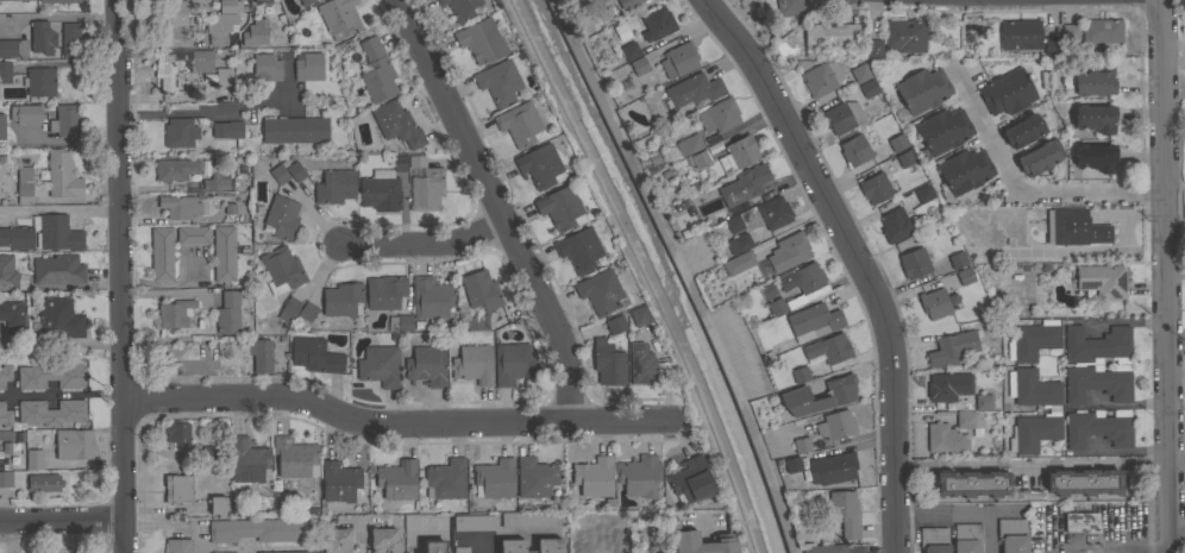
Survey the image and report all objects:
building: (13, 0)
building: (62, 1)
building: (263, 1)
building: (595, 1)
building: (634, 1)
building: (303, 2)
building: (228, 6)
building: (606, 6)
building: (790, 7)
building: (459, 8)
road: (63, 15)
building: (338, 17)
building: (176, 18)
building: (657, 23)
building: (218, 29)
building: (620, 32)
building: (255, 33)
building: (1070, 33)
building: (1101, 33)
building: (904, 34)
building: (1020, 34)
building: (826, 36)
building: (42, 38)
building: (70, 39)
building: (481, 40)
building: (1051, 45)
building: (13, 48)
building: (873, 49)
building: (628, 51)
building: (678, 59)
building: (180, 65)
building: (267, 67)
building: (308, 67)
building: (638, 67)
building: (376, 70)
building: (5, 71)
building: (860, 73)
building: (224, 74)
building: (820, 76)
building: (39, 81)
building: (499, 81)
building: (1089, 82)
building: (869, 88)
building: (694, 89)
building: (922, 89)
building: (1008, 92)
road: (217, 111)
building: (25, 113)
road: (125, 113)
building: (719, 115)
building: (841, 117)
building: (1095, 118)
building: (67, 120)
building: (397, 124)
building: (519, 124)
building: (1, 126)
building: (227, 128)
building: (294, 130)
building: (943, 130)
building: (1023, 130)
building: (178, 132)
road: (70, 139)
building: (895, 143)
building: (688, 144)
building: (853, 151)
building: (736, 153)
building: (1095, 156)
building: (904, 158)
building: (1036, 158)
building: (697, 159)
building: (416, 161)
building: (539, 165)
building: (174, 170)
building: (295, 171)
building: (964, 171)
building: (278, 174)
building: (62, 175)
building: (24, 181)
building: (215, 182)
building: (744, 184)
building: (336, 186)
building: (383, 187)
road: (1022, 187)
building: (426, 188)
building: (873, 189)
building: (669, 194)
building: (922, 194)
road: (1174, 200)
road: (497, 205)
road: (61, 207)
building: (559, 207)
building: (178, 208)
building: (227, 208)
building: (775, 212)
building: (277, 219)
building: (733, 224)
building: (894, 225)
building: (1066, 226)
building: (43, 233)
building: (1097, 234)
building: (189, 235)
building: (738, 243)
road: (426, 247)
building: (578, 249)
building: (788, 251)
building: (221, 253)
building: (159, 254)
road: (854, 258)
building: (955, 260)
building: (738, 263)
building: (914, 263)
building: (58, 269)
building: (281, 269)
building: (7, 271)
road: (635, 271)
road: (120, 276)
road: (1166, 276)
building: (808, 277)
building: (964, 277)
building: (1102, 279)
road: (171, 282)
building: (481, 289)
building: (767, 289)
building: (598, 290)
building: (385, 291)
building: (431, 296)
building: (343, 299)
building: (934, 303)
building: (776, 306)
building: (288, 309)
building: (175, 312)
building: (306, 312)
building: (227, 313)
building: (12, 315)
building: (639, 315)
building: (57, 319)
road: (1115, 320)
building: (476, 321)
building: (813, 321)
building: (400, 322)
building: (615, 323)
building: (1032, 340)
road: (61, 344)
building: (1097, 345)
building: (828, 347)
building: (952, 347)
building: (261, 354)
building: (314, 354)
building: (472, 363)
building: (512, 363)
building: (607, 364)
building: (380, 365)
building: (426, 365)
building: (640, 365)
building: (5, 373)
building: (800, 373)
building: (51, 376)
building: (1097, 382)
building: (941, 388)
building: (1033, 388)
road: (61, 392)
building: (838, 396)
building: (983, 401)
road: (1115, 403)
building: (51, 411)
building: (5, 415)
building: (967, 420)
road: (393, 425)
building: (835, 425)
building: (1098, 427)
building: (1034, 432)
building: (177, 433)
building: (945, 438)
building: (74, 444)
building: (801, 445)
building: (207, 452)
building: (295, 457)
road: (1177, 457)
building: (35, 459)
building: (246, 459)
road: (1032, 460)
building: (791, 464)
building: (832, 467)
building: (594, 476)
building: (639, 476)
building: (535, 477)
building: (5, 478)
building: (494, 478)
building: (397, 479)
building: (446, 479)
building: (690, 479)
building: (44, 482)
building: (339, 482)
building: (1084, 482)
building: (971, 483)
building: (177, 488)
building: (218, 507)
road: (961, 510)
building: (844, 514)
building: (527, 519)
building: (410, 521)
building: (472, 522)
building: (1079, 522)
road: (62, 527)
road: (1178, 528)
building: (258, 529)
building: (684, 533)
building: (1009, 535)
building: (965, 538)
road: (197, 539)
road: (360, 539)
building: (932, 539)
building: (337, 540)
building: (383, 540)
building: (548, 543)
building: (178, 546)
building: (434, 546)
road: (485, 546)
building: (460, 549)
building: (832, 549)
building: (54, 552)
building: (74, 552)
building: (227, 552)
building: (284, 552)

